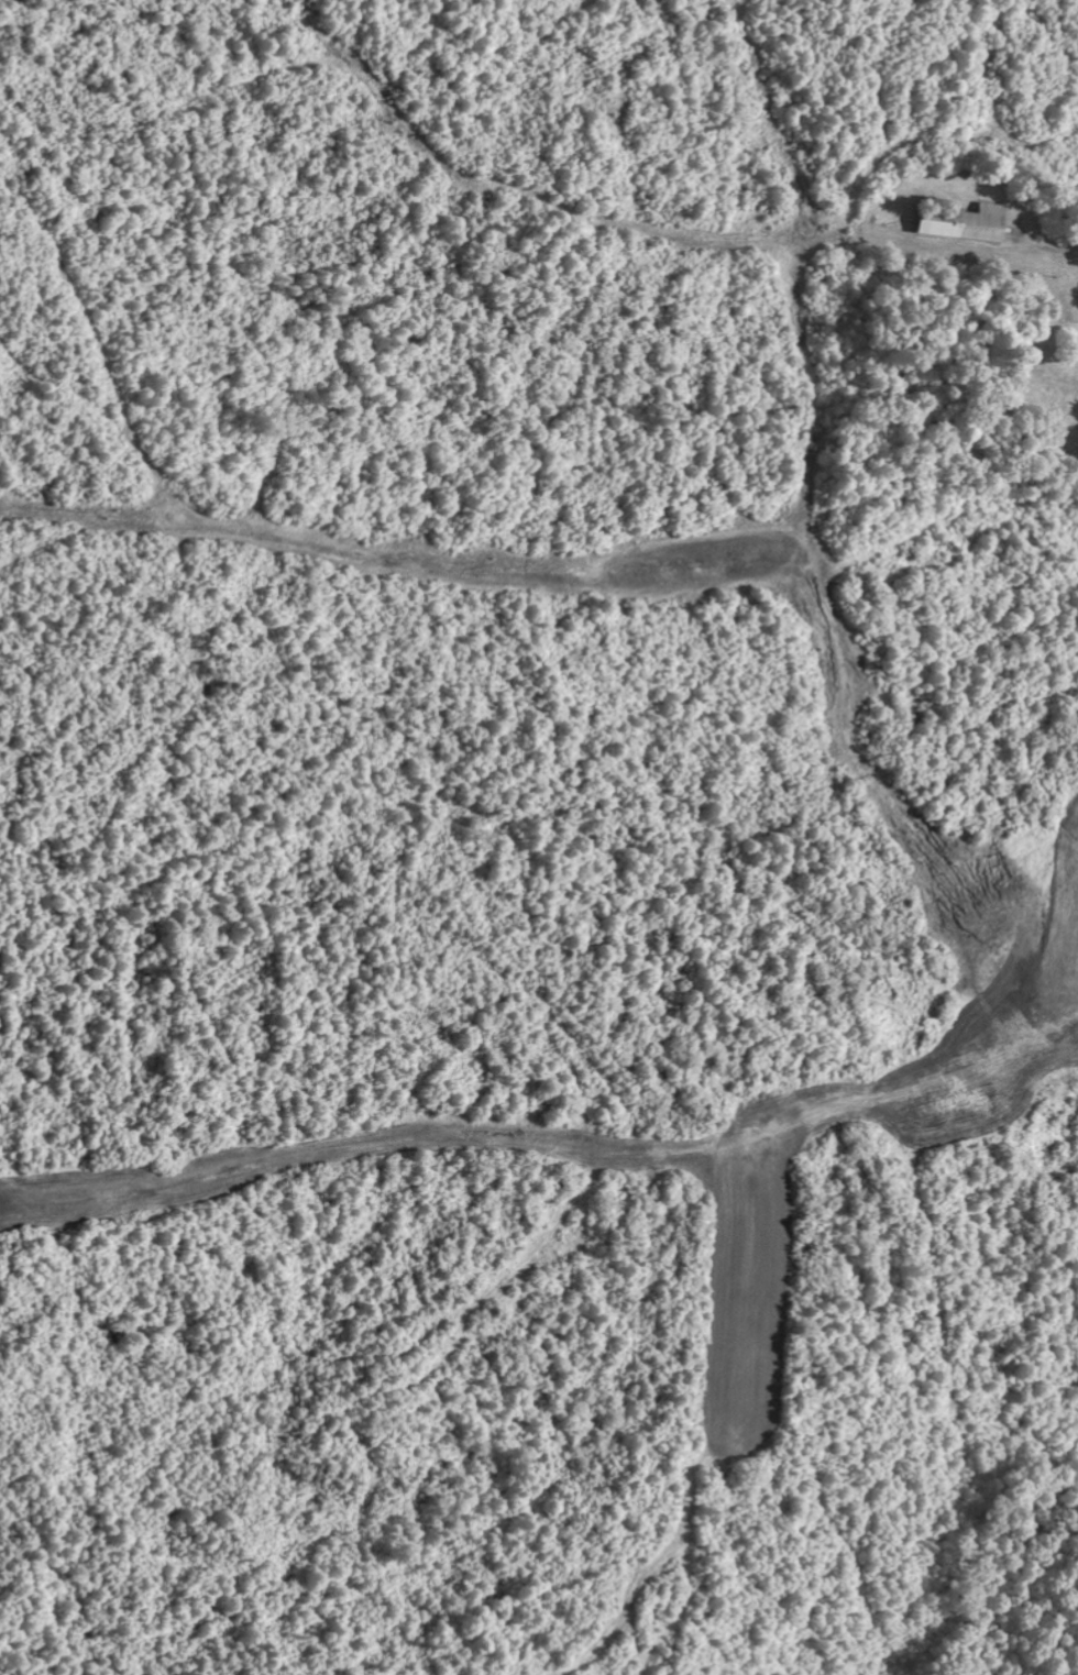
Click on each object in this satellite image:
building: (961, 222)

